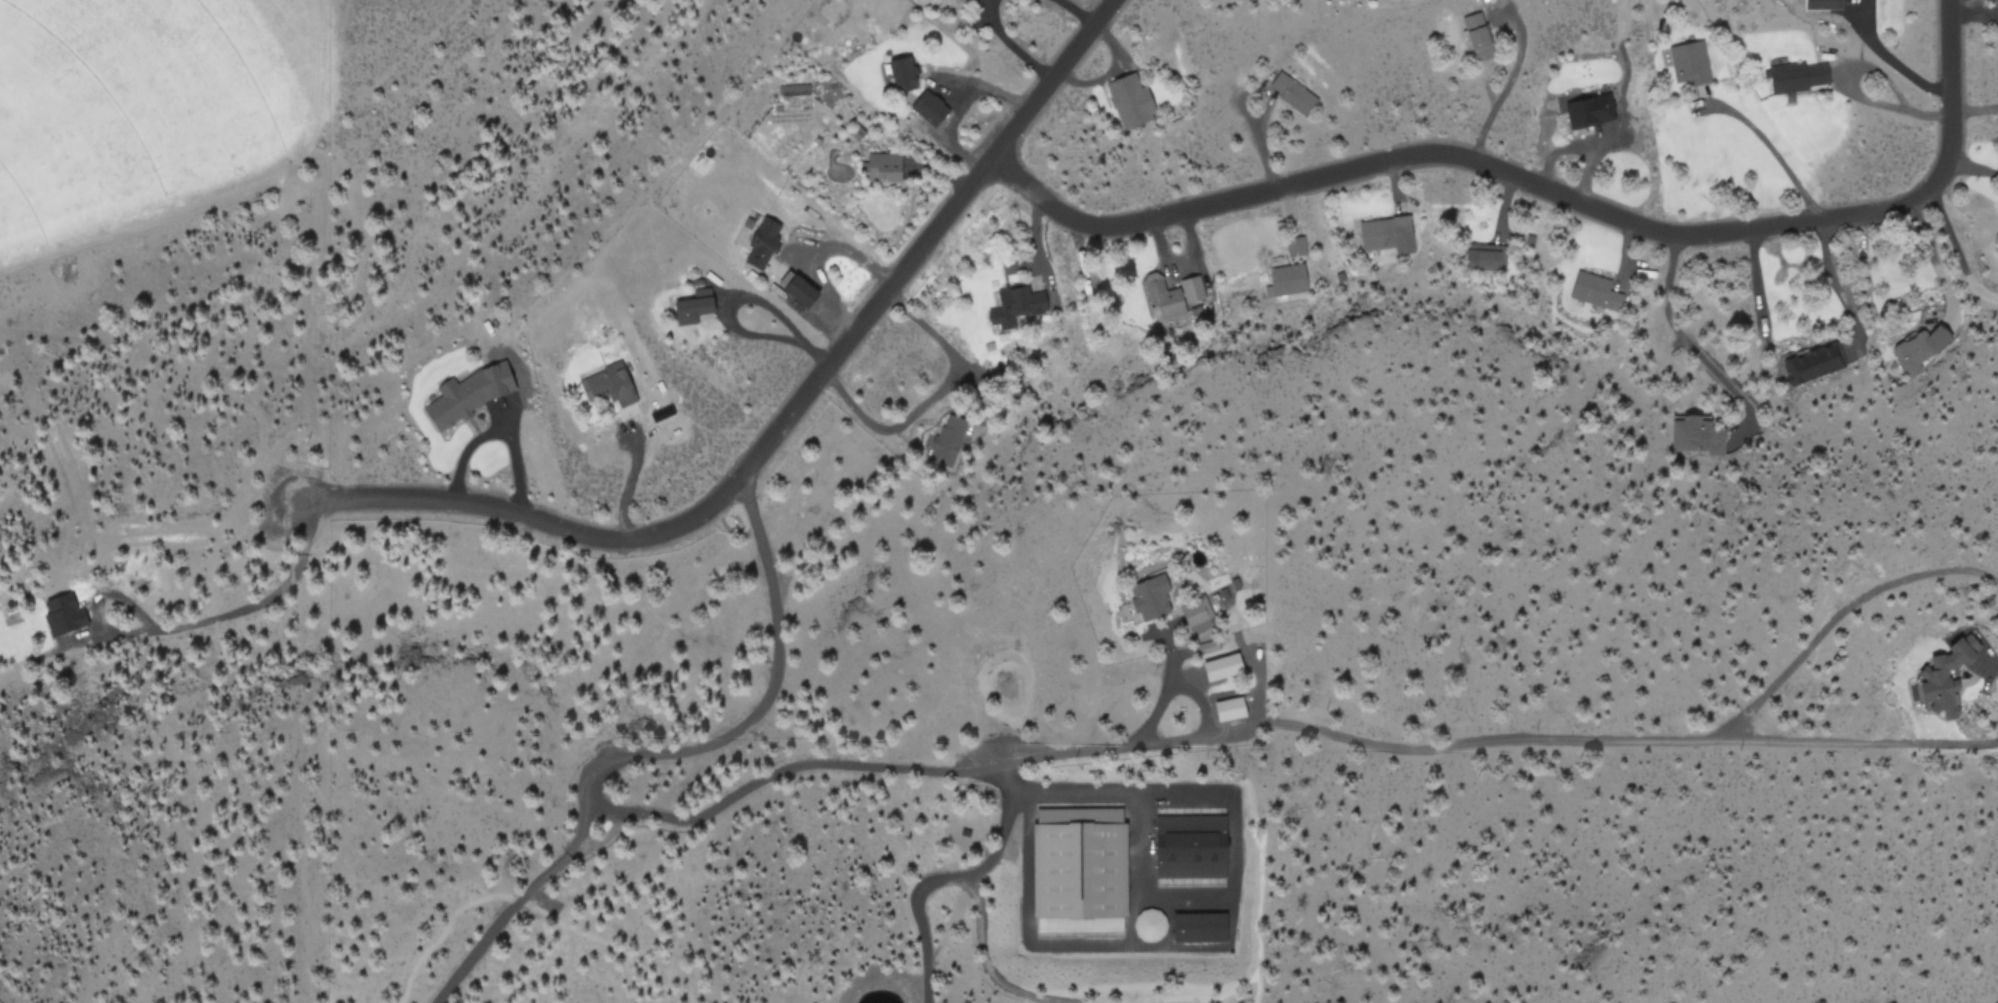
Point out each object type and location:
building: (945, 2)
building: (1824, 3)
building: (1476, 29)
building: (1689, 61)
building: (904, 73)
building: (1293, 93)
building: (1131, 100)
crop: (182, 104)
building: (930, 107)
building: (1589, 110)
building: (882, 166)
road: (1542, 192)
building: (1387, 232)
building: (762, 242)
building: (1294, 245)
building: (1484, 256)
building: (1287, 278)
building: (799, 288)
building: (1594, 289)
building: (1170, 293)
building: (1015, 304)
building: (694, 305)
building: (1920, 347)
building: (1810, 363)
building: (608, 384)
building: (468, 393)
road: (779, 424)
building: (1695, 433)
building: (1731, 437)
building: (946, 438)
building: (1151, 596)
building: (63, 613)
building: (1196, 613)
road: (128, 636)
building: (1223, 665)
building: (1948, 675)
building: (1231, 707)
building: (1182, 841)

